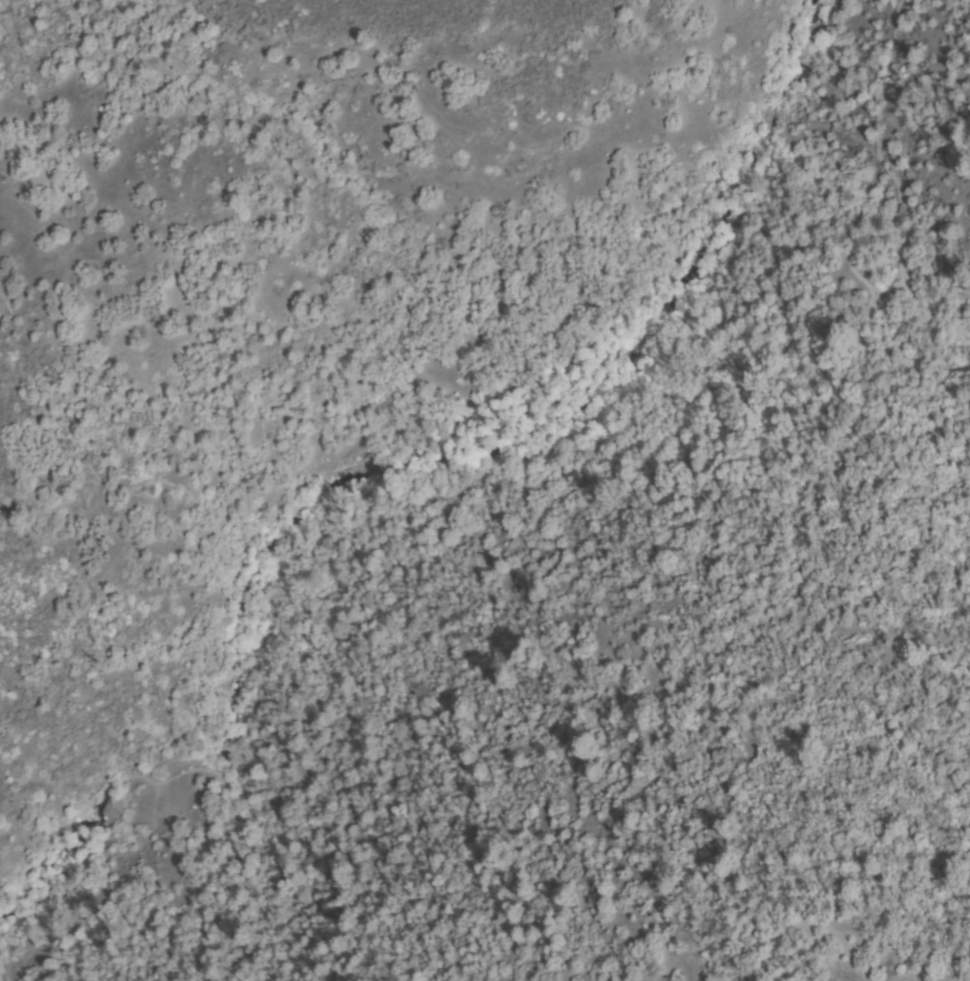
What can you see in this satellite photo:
road: (891, 187)

